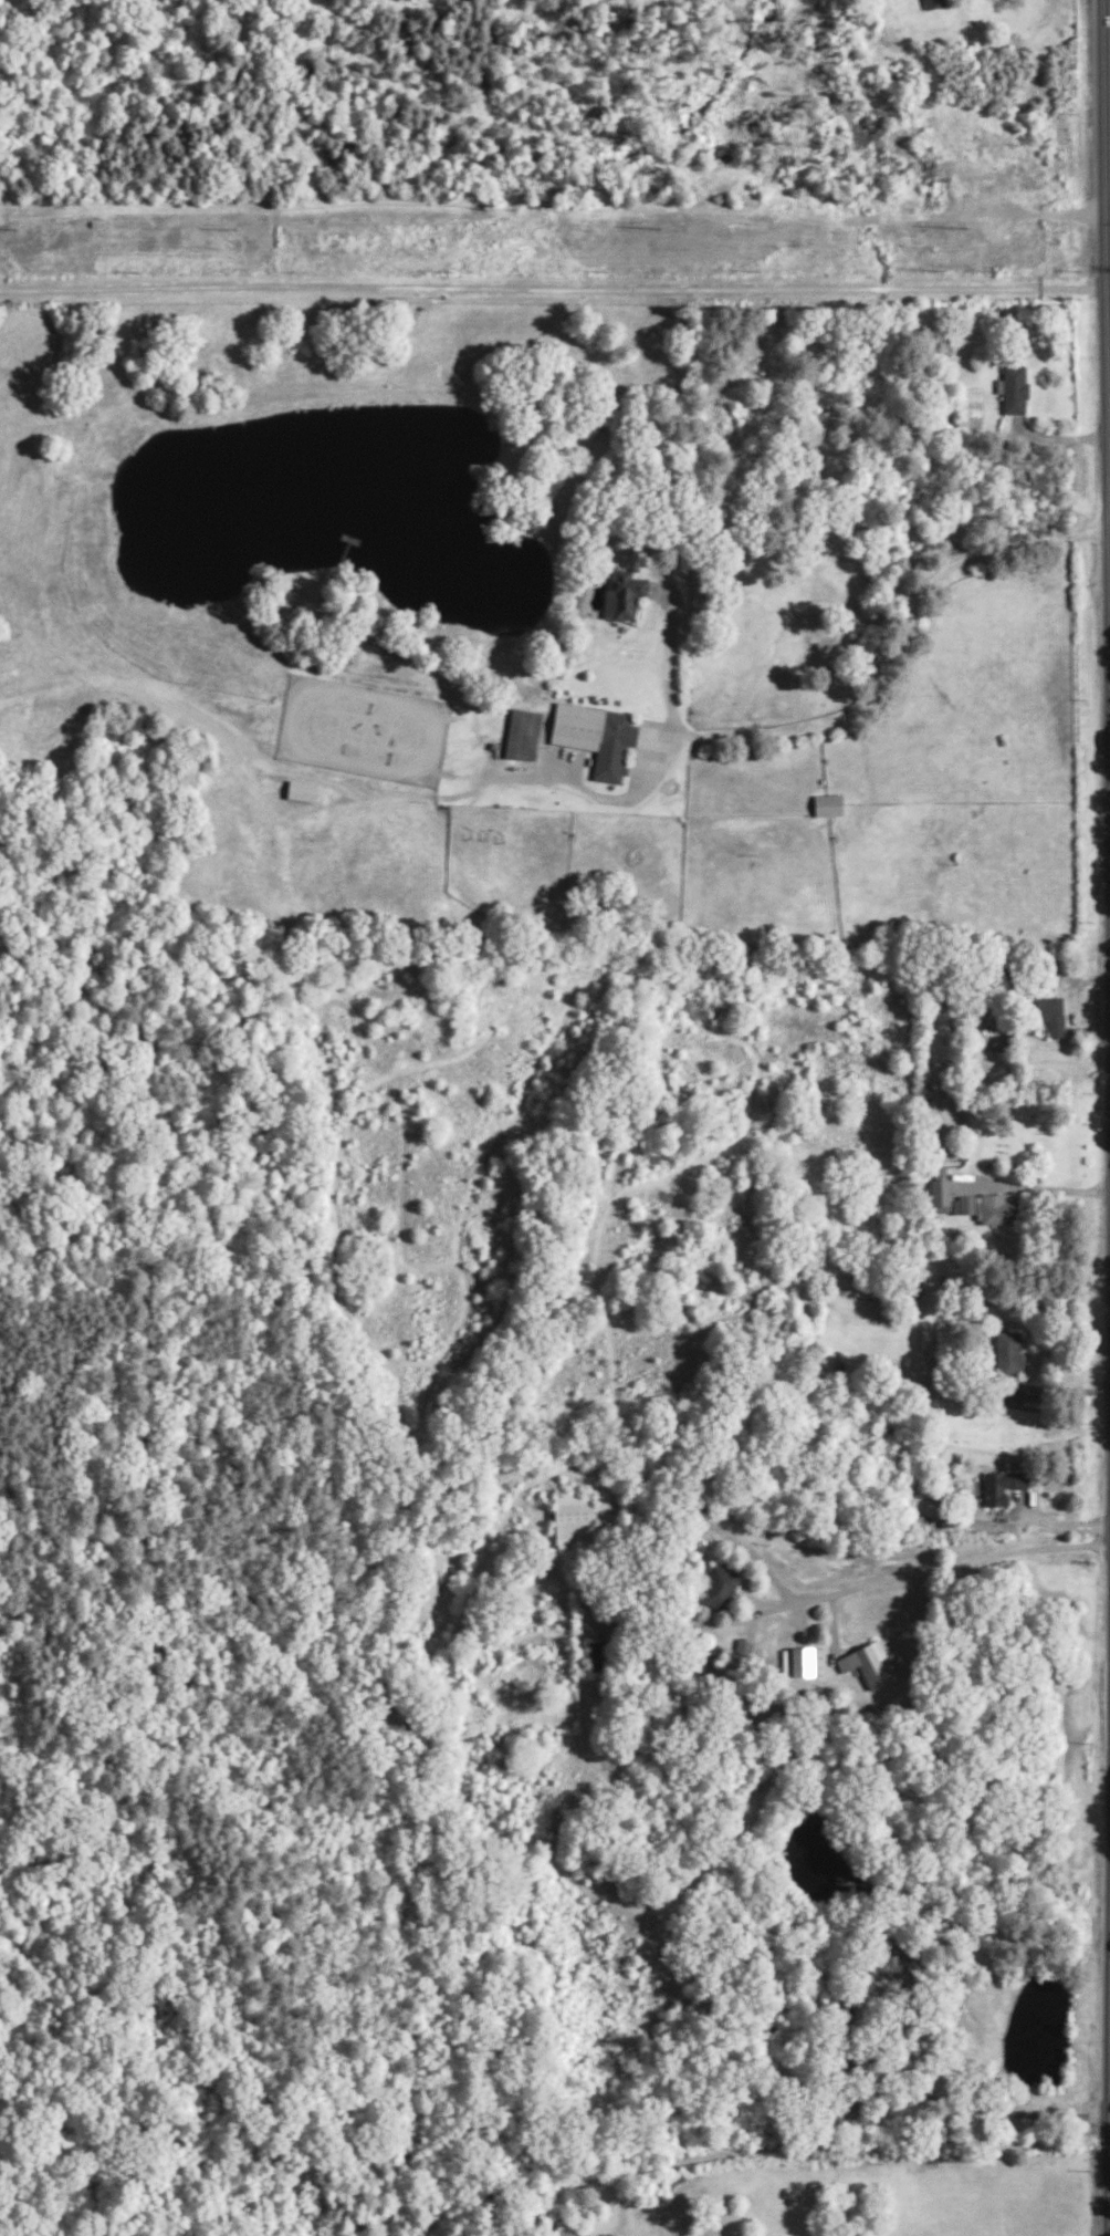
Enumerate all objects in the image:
building: (933, 3)
road: (553, 287)
road: (1107, 318)
road: (1108, 377)
building: (1015, 388)
road: (1109, 479)
building: (622, 593)
road: (1109, 593)
road: (891, 655)
road: (671, 679)
building: (522, 732)
building: (596, 735)
building: (301, 789)
building: (827, 803)
building: (1051, 1013)
road: (1039, 1187)
building: (939, 1194)
building: (987, 1207)
building: (1007, 1362)
building: (1001, 1486)
building: (574, 1518)
building: (432, 1574)
building: (719, 1585)
road: (848, 1587)
road: (708, 1621)
building: (743, 1644)
building: (802, 1660)
building: (869, 1663)
building: (893, 1962)
road: (936, 2098)
building: (851, 2103)
building: (562, 2227)

